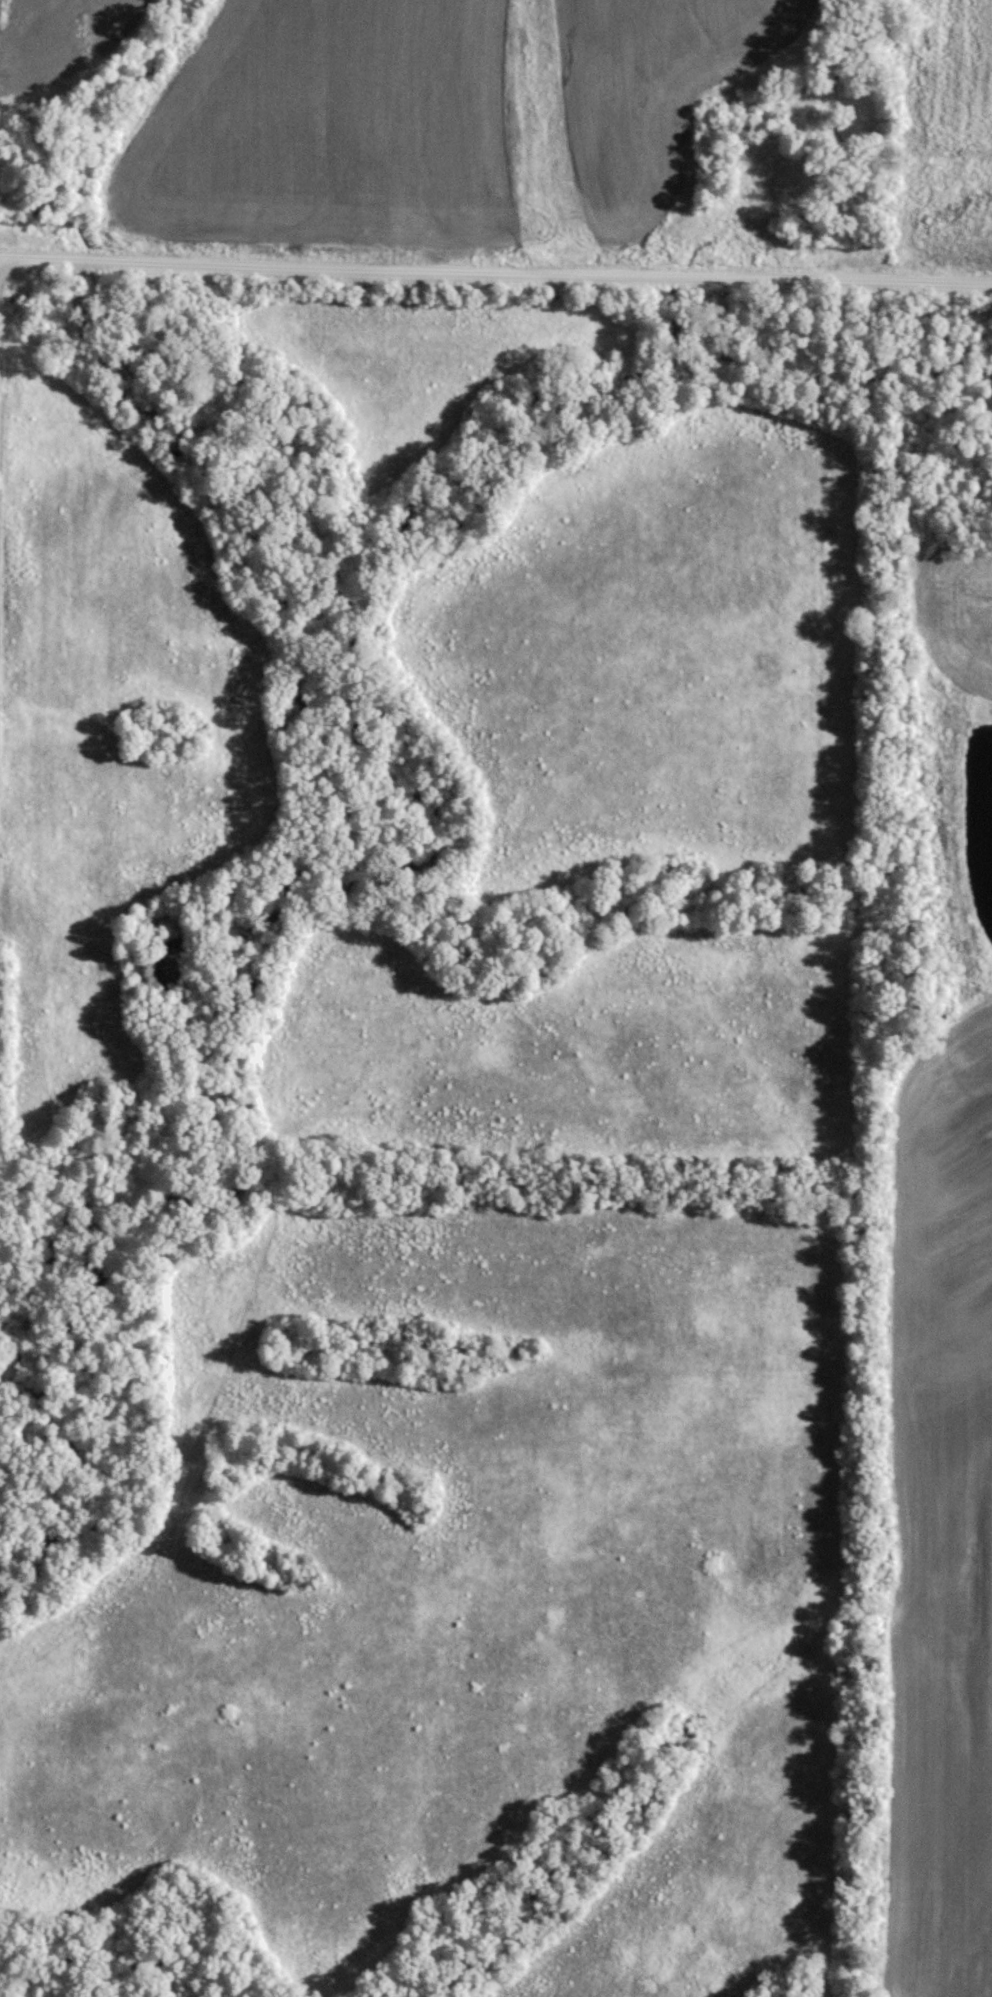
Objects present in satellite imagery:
road: (9, 266)
road: (496, 266)

